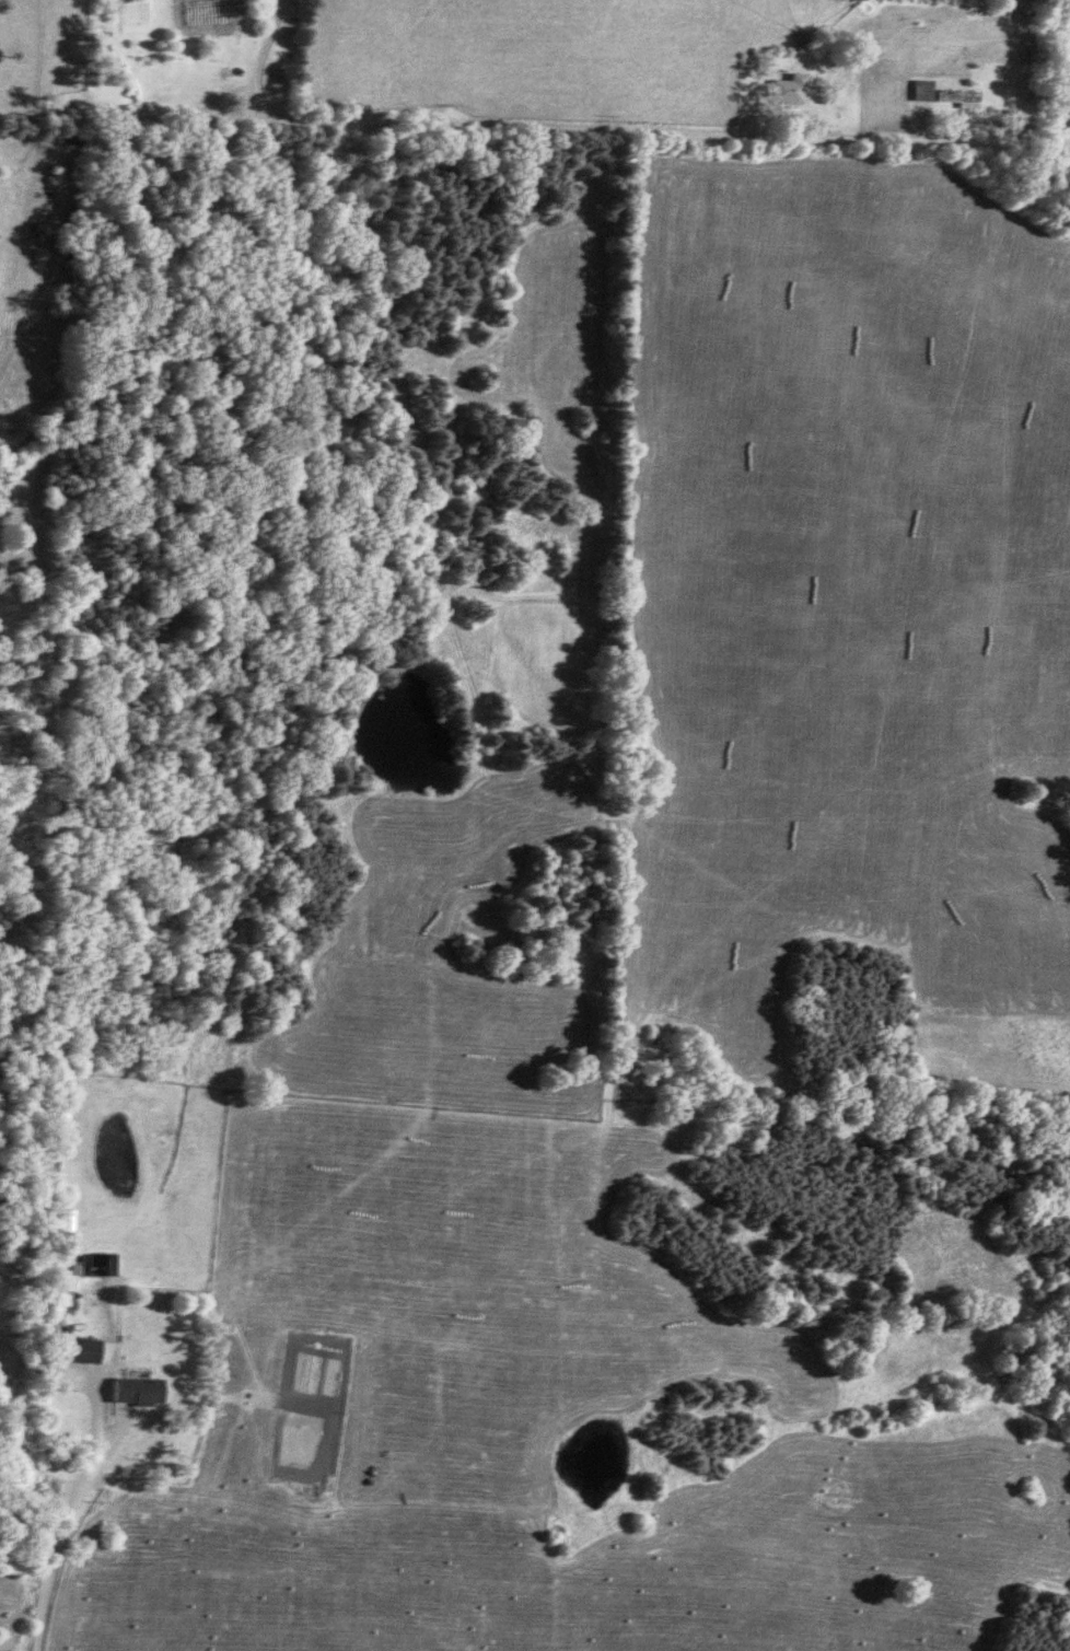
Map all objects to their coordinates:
road: (1065, 28)
building: (782, 91)
building: (938, 95)
road: (606, 127)
road: (1068, 135)
road: (1068, 146)
building: (96, 1265)
building: (68, 1350)
building: (135, 1393)
road: (55, 1545)

